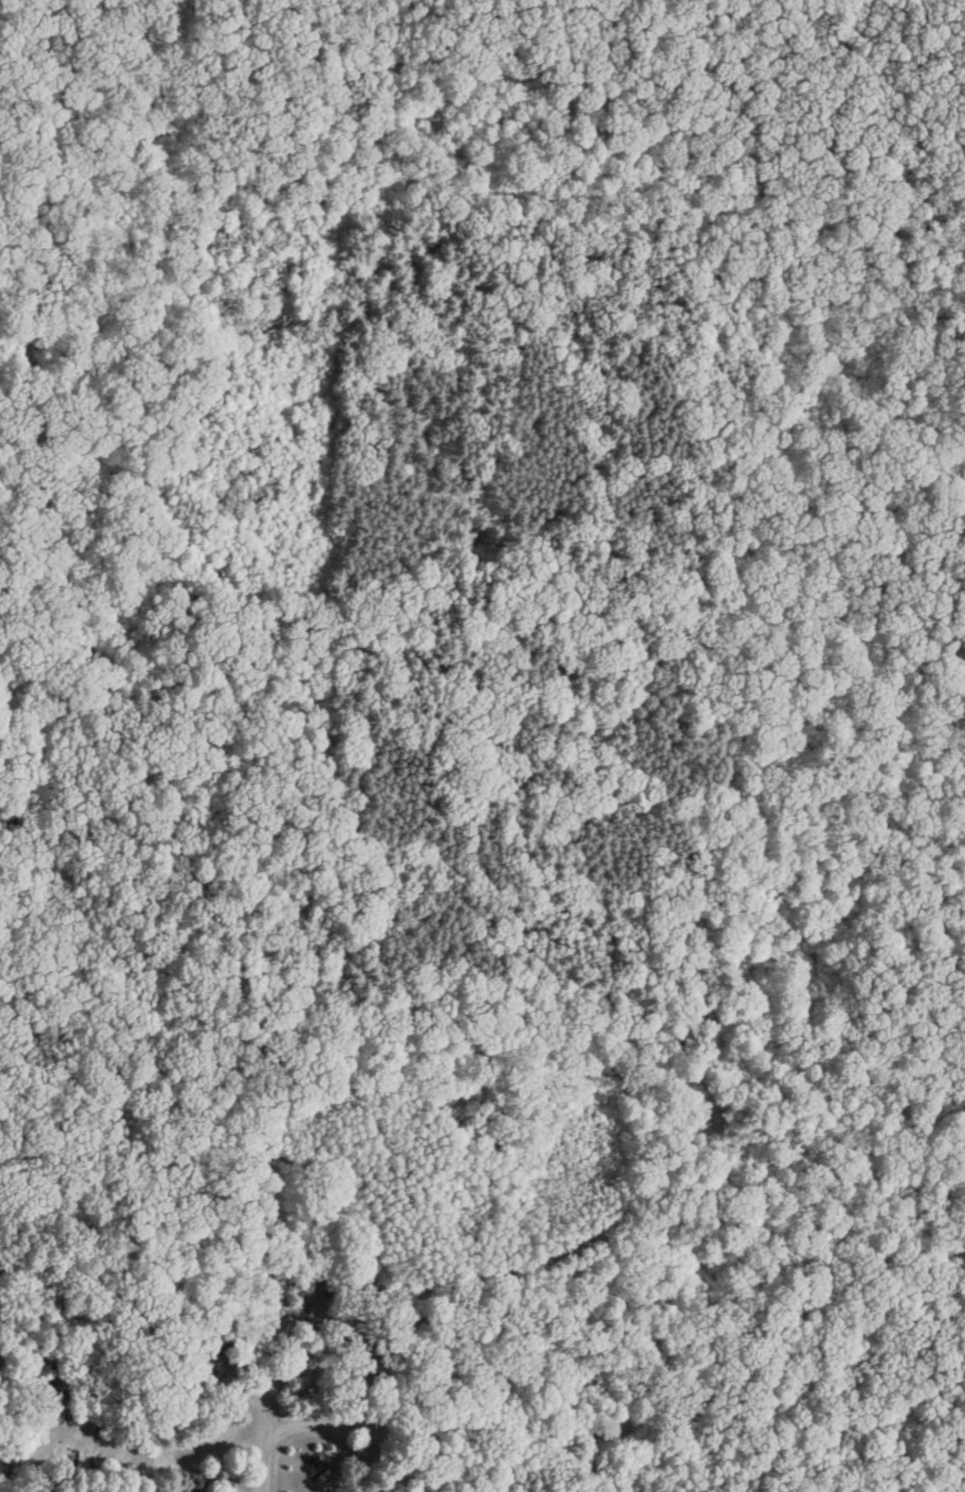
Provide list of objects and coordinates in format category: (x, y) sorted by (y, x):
road: (86, 31)
road: (64, 608)
road: (268, 1338)
building: (204, 1351)
road: (641, 1415)

